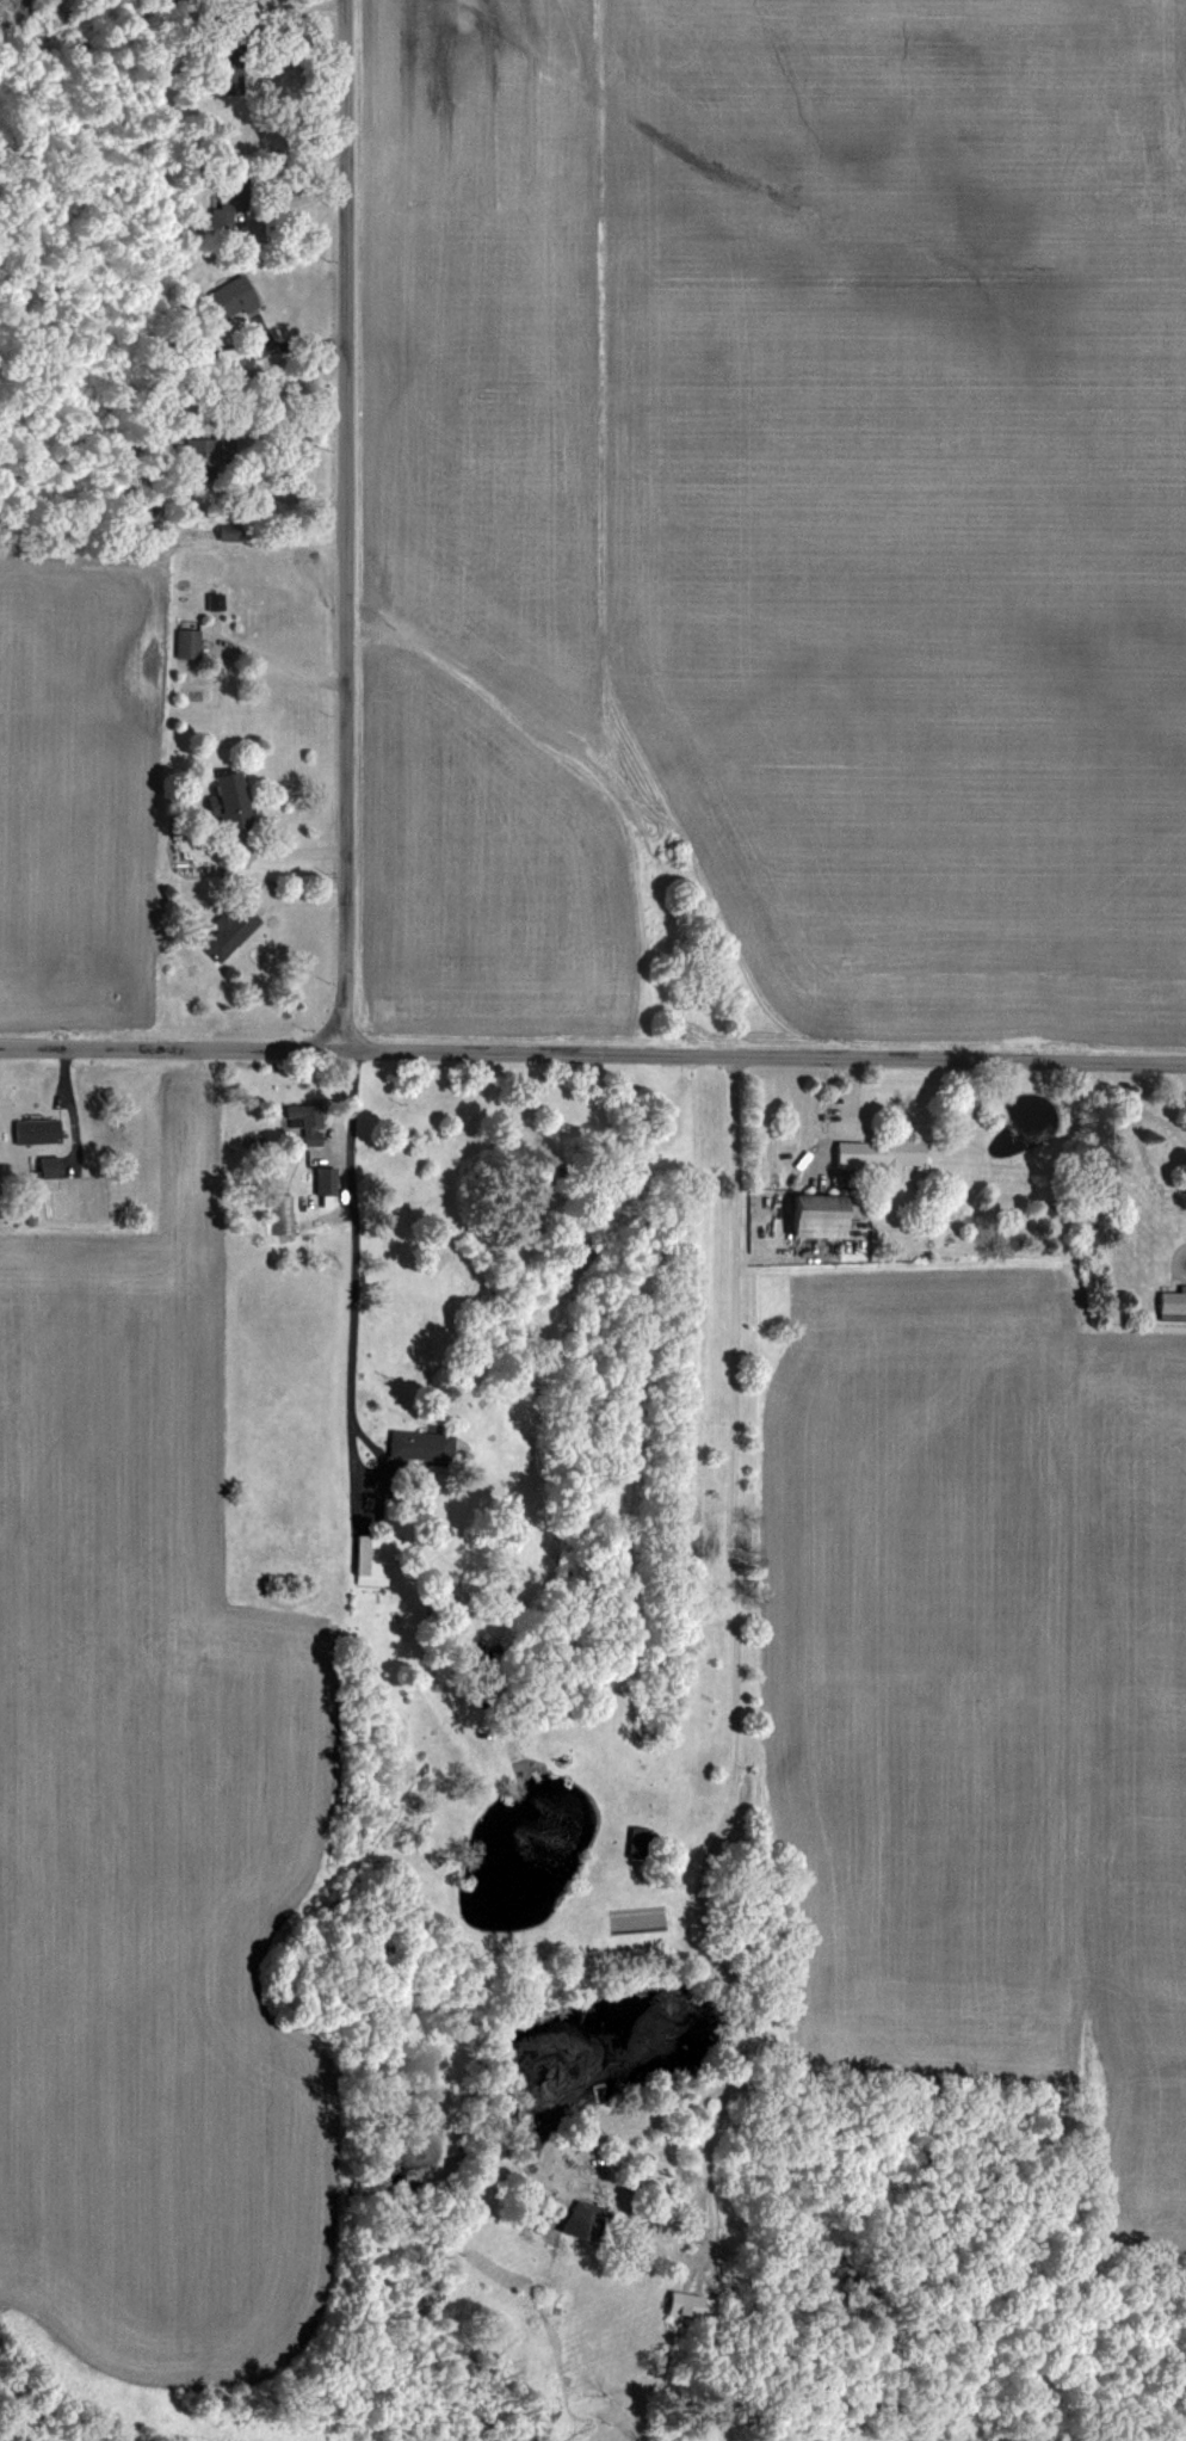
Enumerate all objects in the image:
building: (222, 74)
building: (215, 209)
building: (218, 304)
building: (193, 458)
crop: (74, 524)
road: (342, 525)
crop: (777, 535)
building: (184, 643)
building: (224, 801)
building: (224, 931)
road: (593, 1053)
road: (335, 1096)
building: (302, 1121)
building: (33, 1132)
building: (876, 1154)
building: (47, 1167)
building: (322, 1185)
building: (278, 1214)
building: (816, 1214)
road: (352, 1255)
building: (1170, 1305)
building: (415, 1446)
building: (365, 1560)
road: (727, 1583)
crop: (159, 1832)
crop: (970, 1874)
building: (579, 2221)
road: (660, 2262)
building: (680, 2306)

